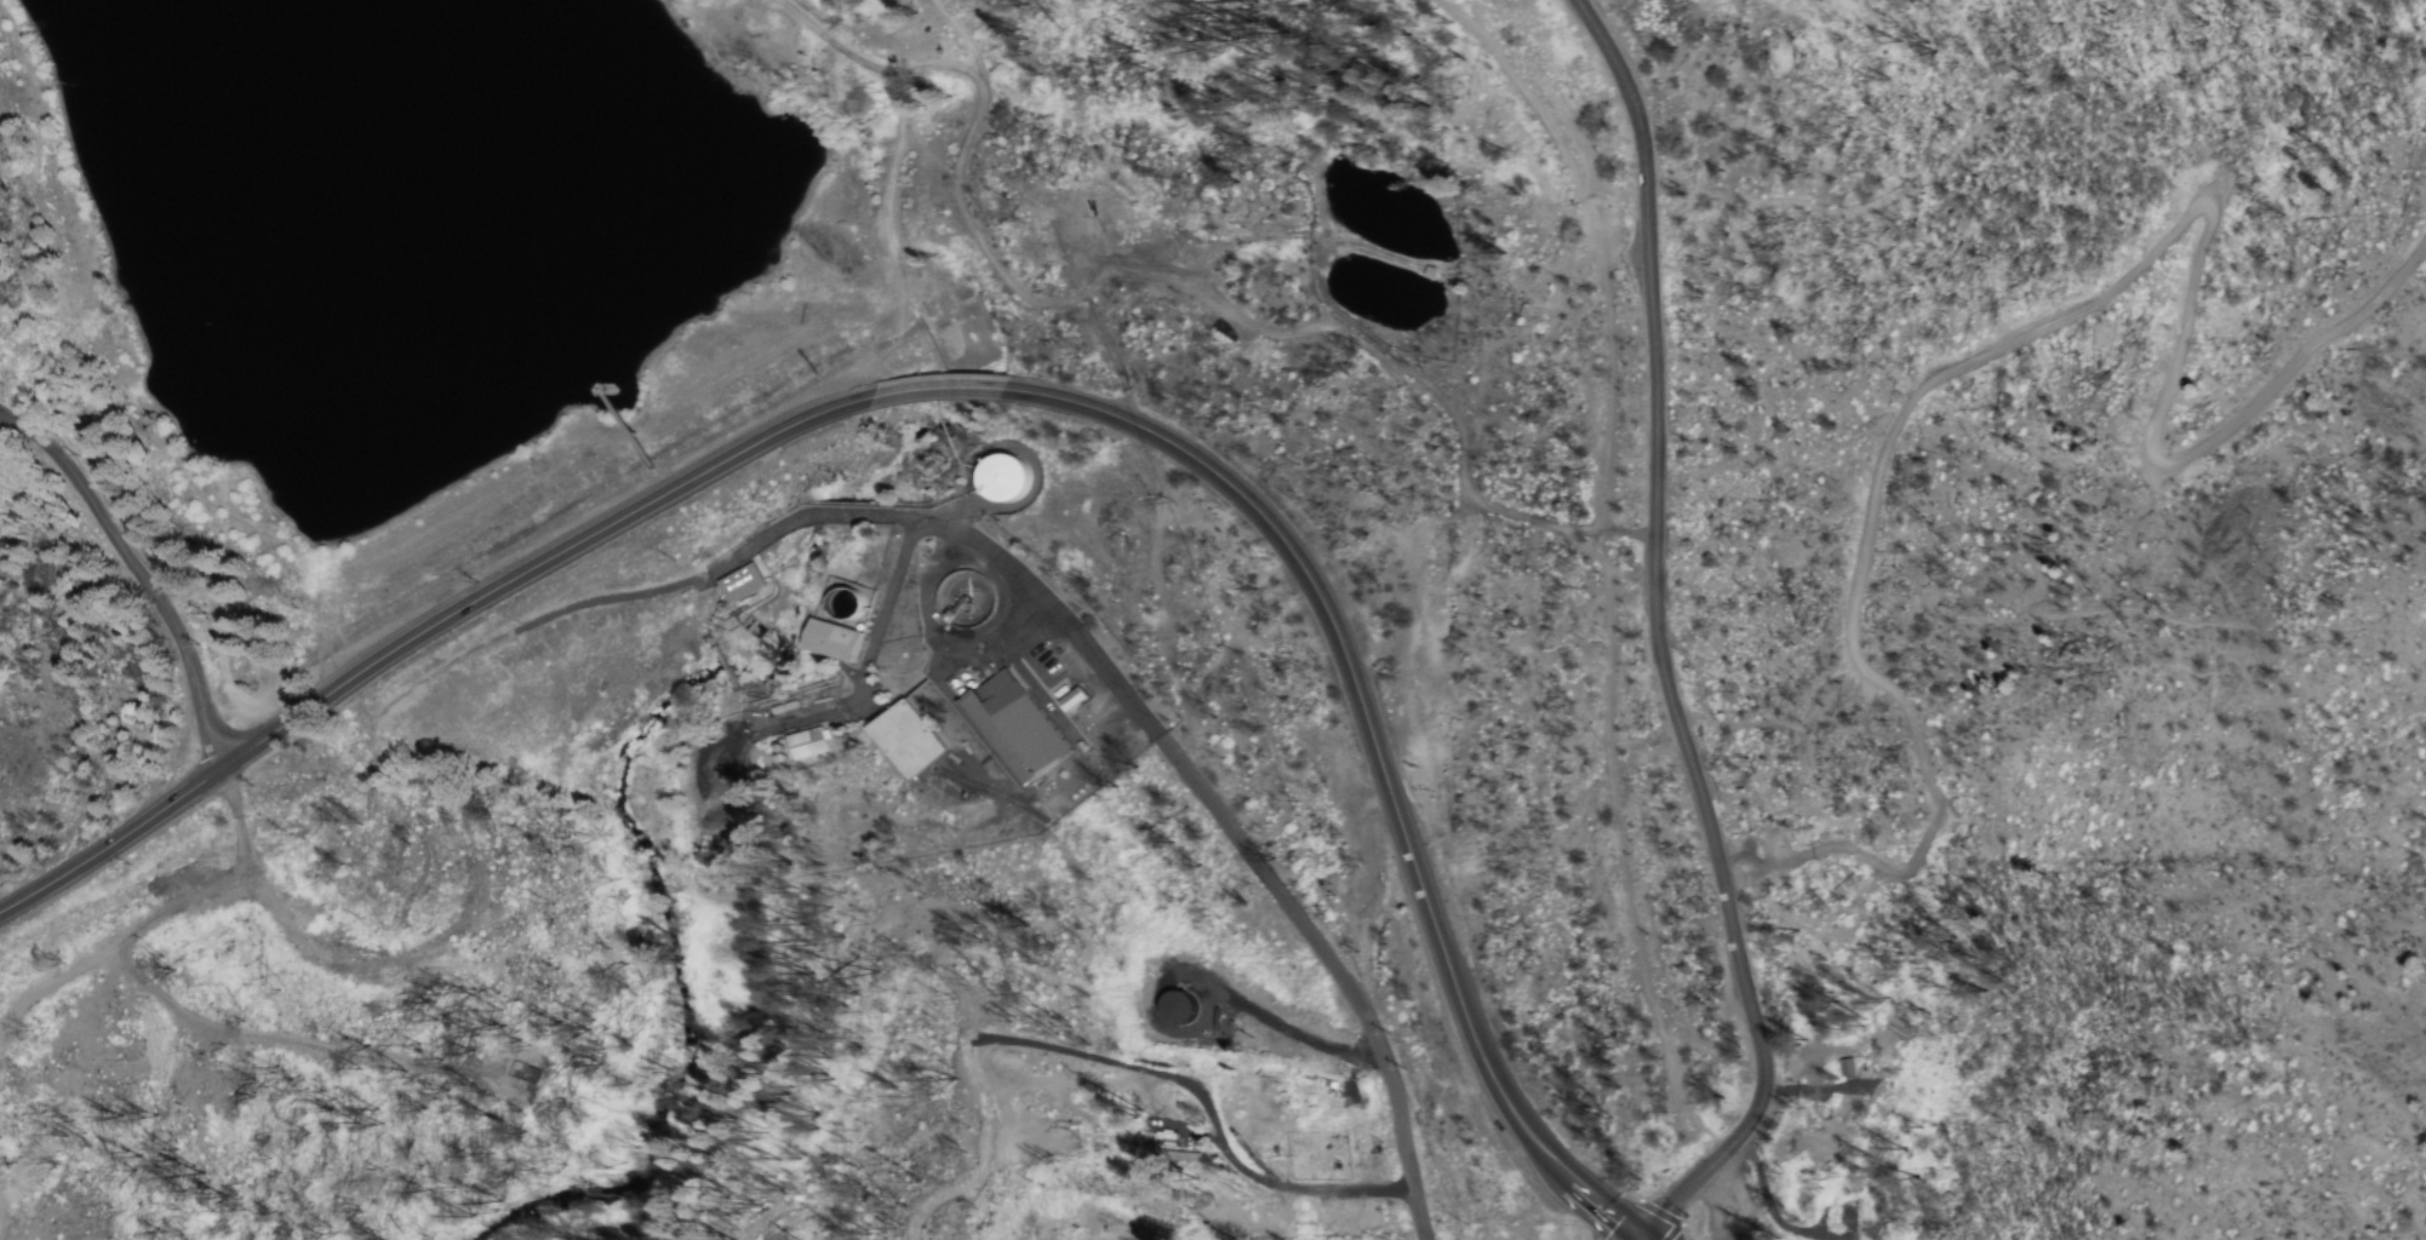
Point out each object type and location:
road: (2024, 327)
road: (944, 387)
building: (1008, 481)
dam: (607, 505)
road: (1603, 533)
road: (137, 573)
building: (748, 586)
road: (1658, 612)
road: (414, 637)
building: (832, 641)
building: (1076, 702)
building: (1017, 728)
building: (808, 746)
road: (1384, 770)
road: (1335, 975)
road: (1135, 1120)
road: (1813, 1123)
road: (1706, 1131)
road: (1741, 1189)
road: (1640, 1239)
road: (1641, 1239)

